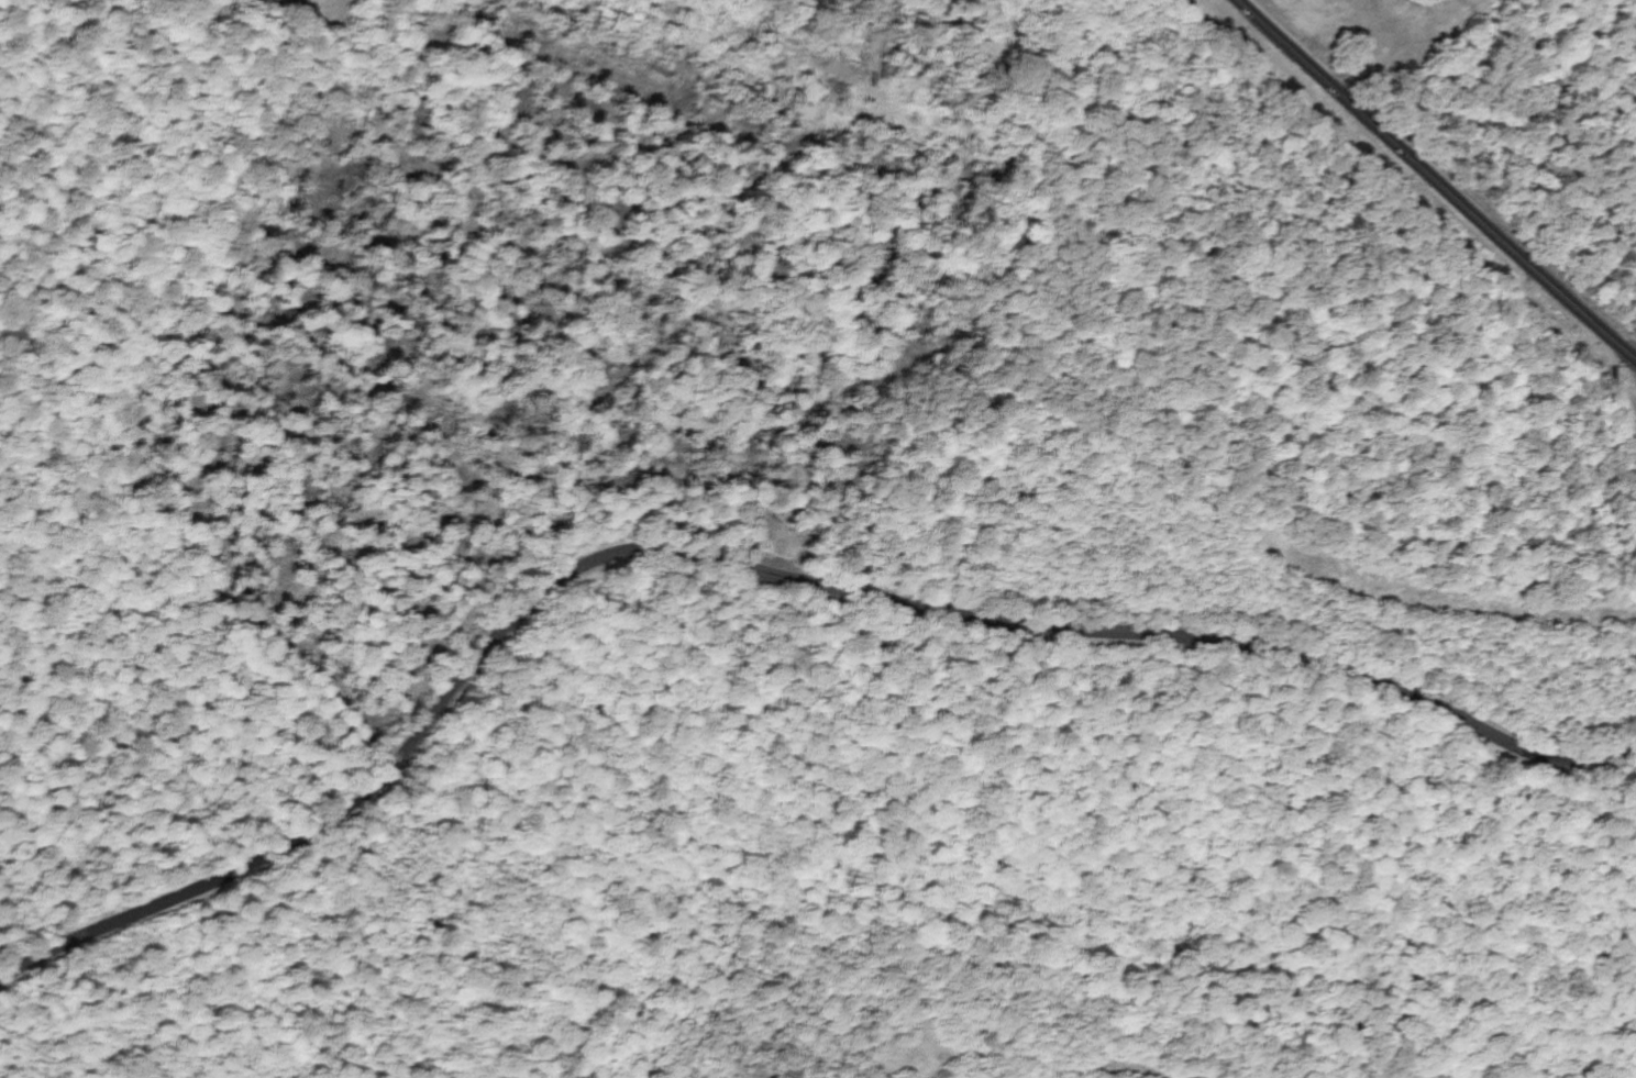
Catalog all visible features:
road: (1434, 180)
road: (758, 571)

